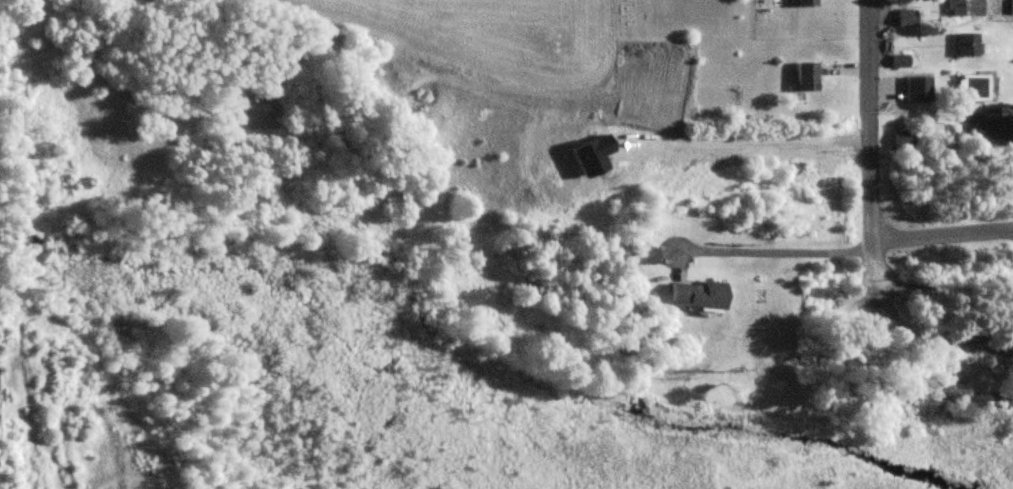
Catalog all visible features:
building: (802, 3)
building: (961, 9)
building: (904, 20)
building: (964, 47)
building: (899, 63)
building: (803, 78)
building: (969, 88)
building: (917, 91)
building: (993, 133)
road: (867, 142)
building: (902, 142)
road: (939, 232)
road: (772, 251)
building: (649, 253)
building: (701, 296)

